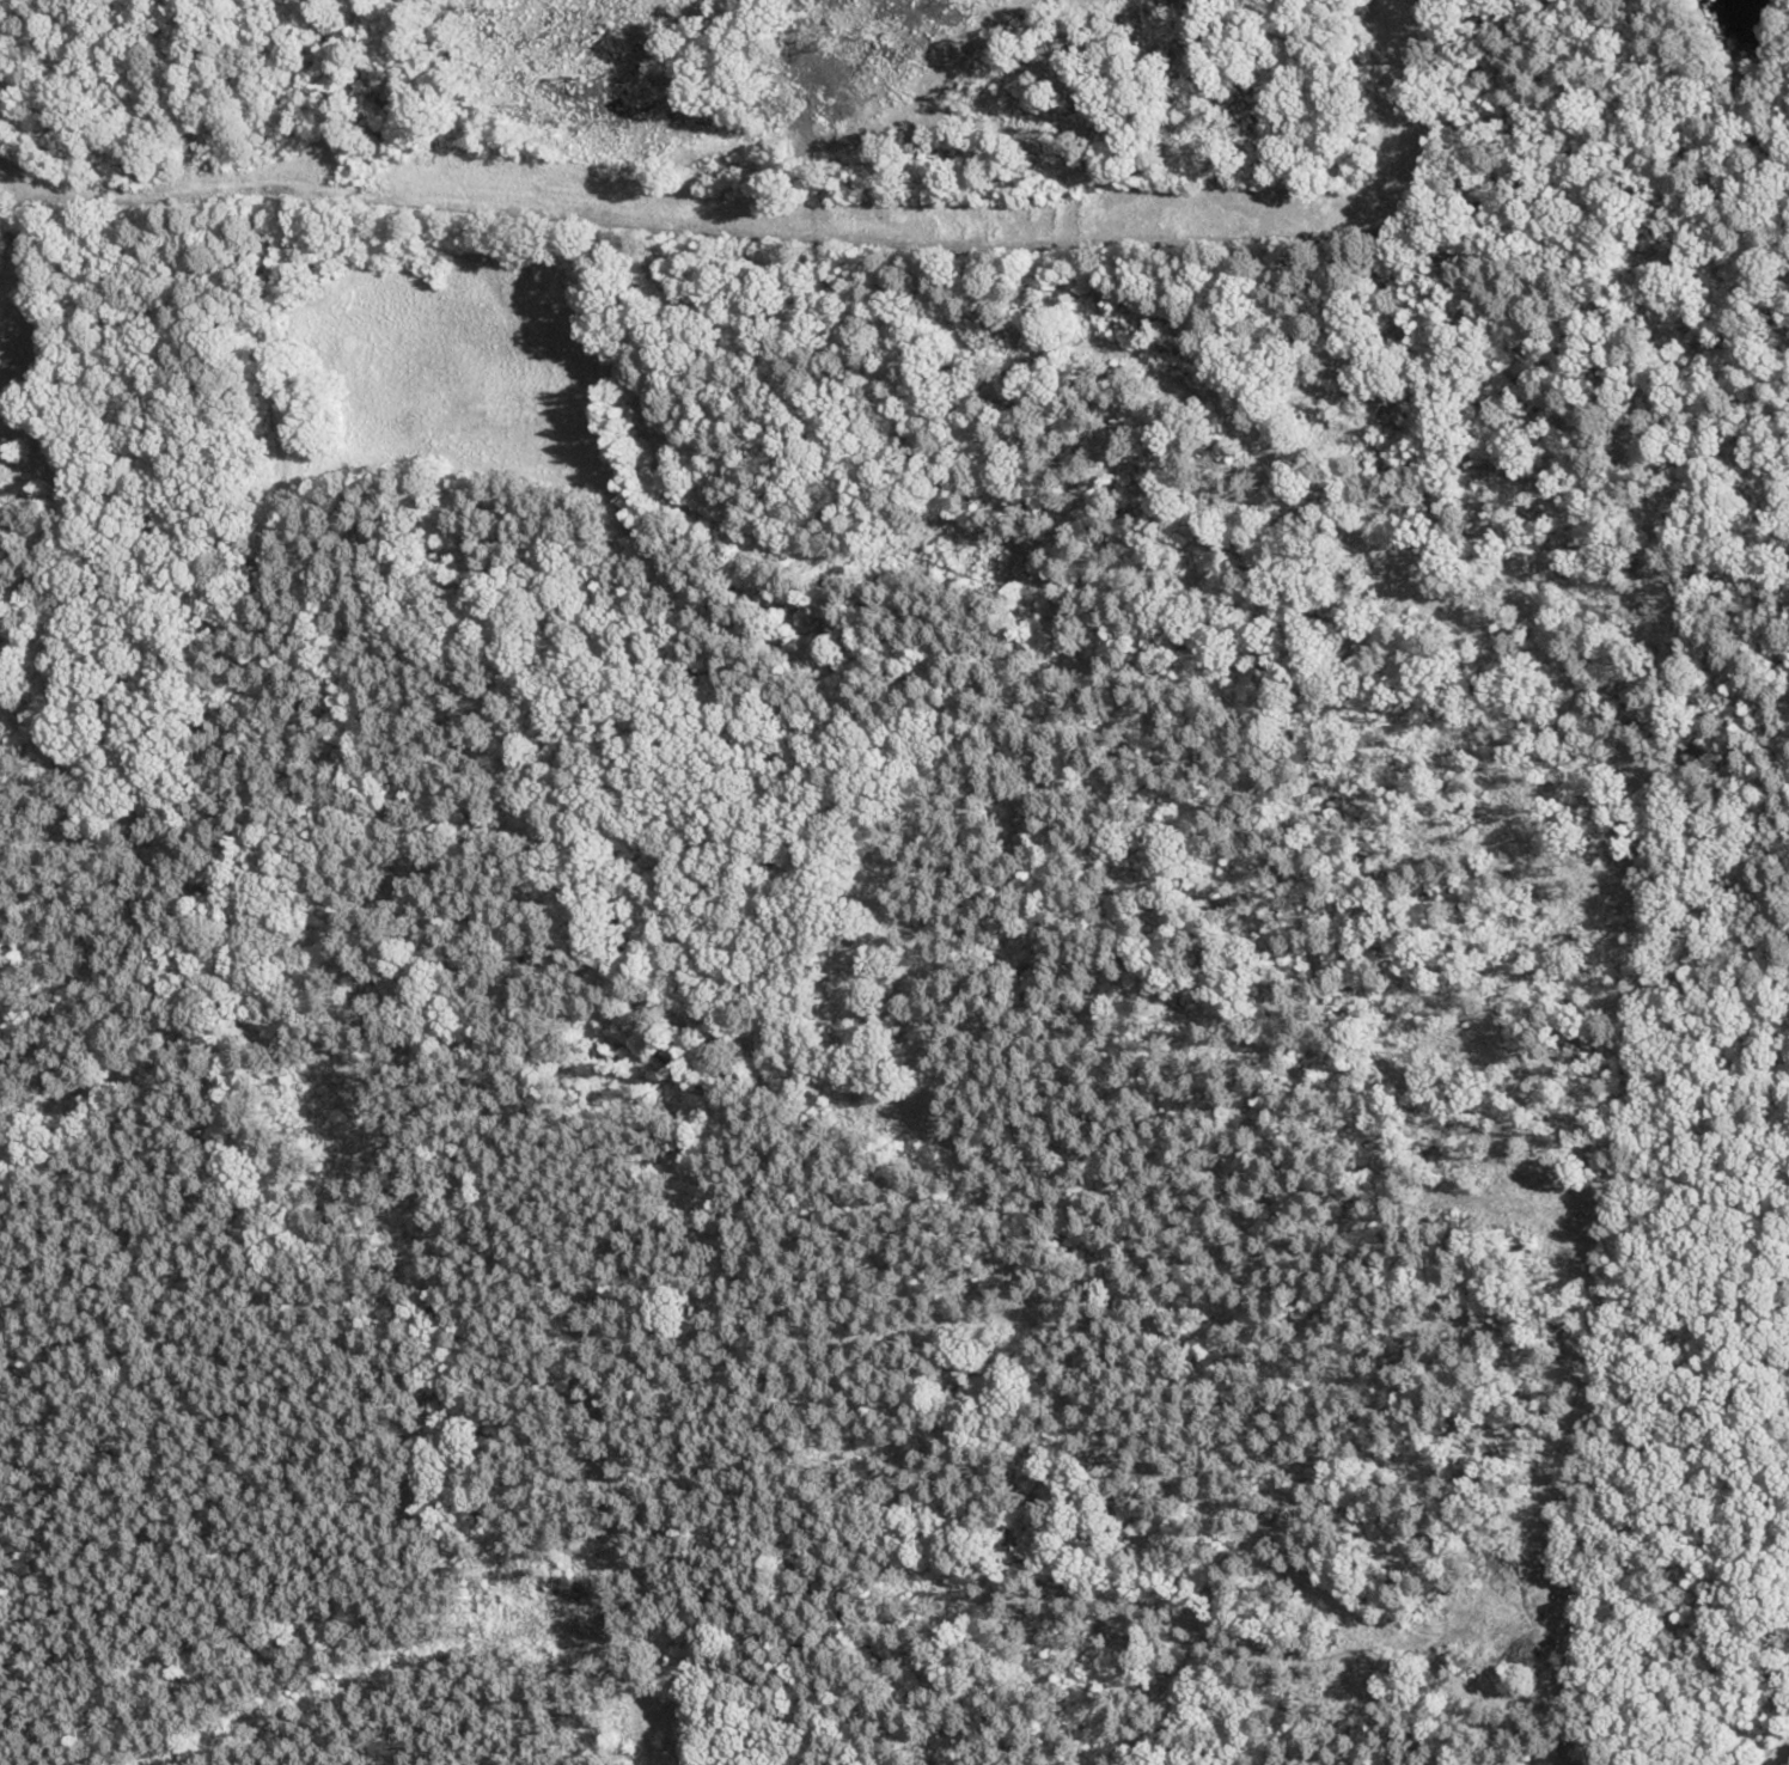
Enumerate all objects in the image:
road: (1779, 1754)

